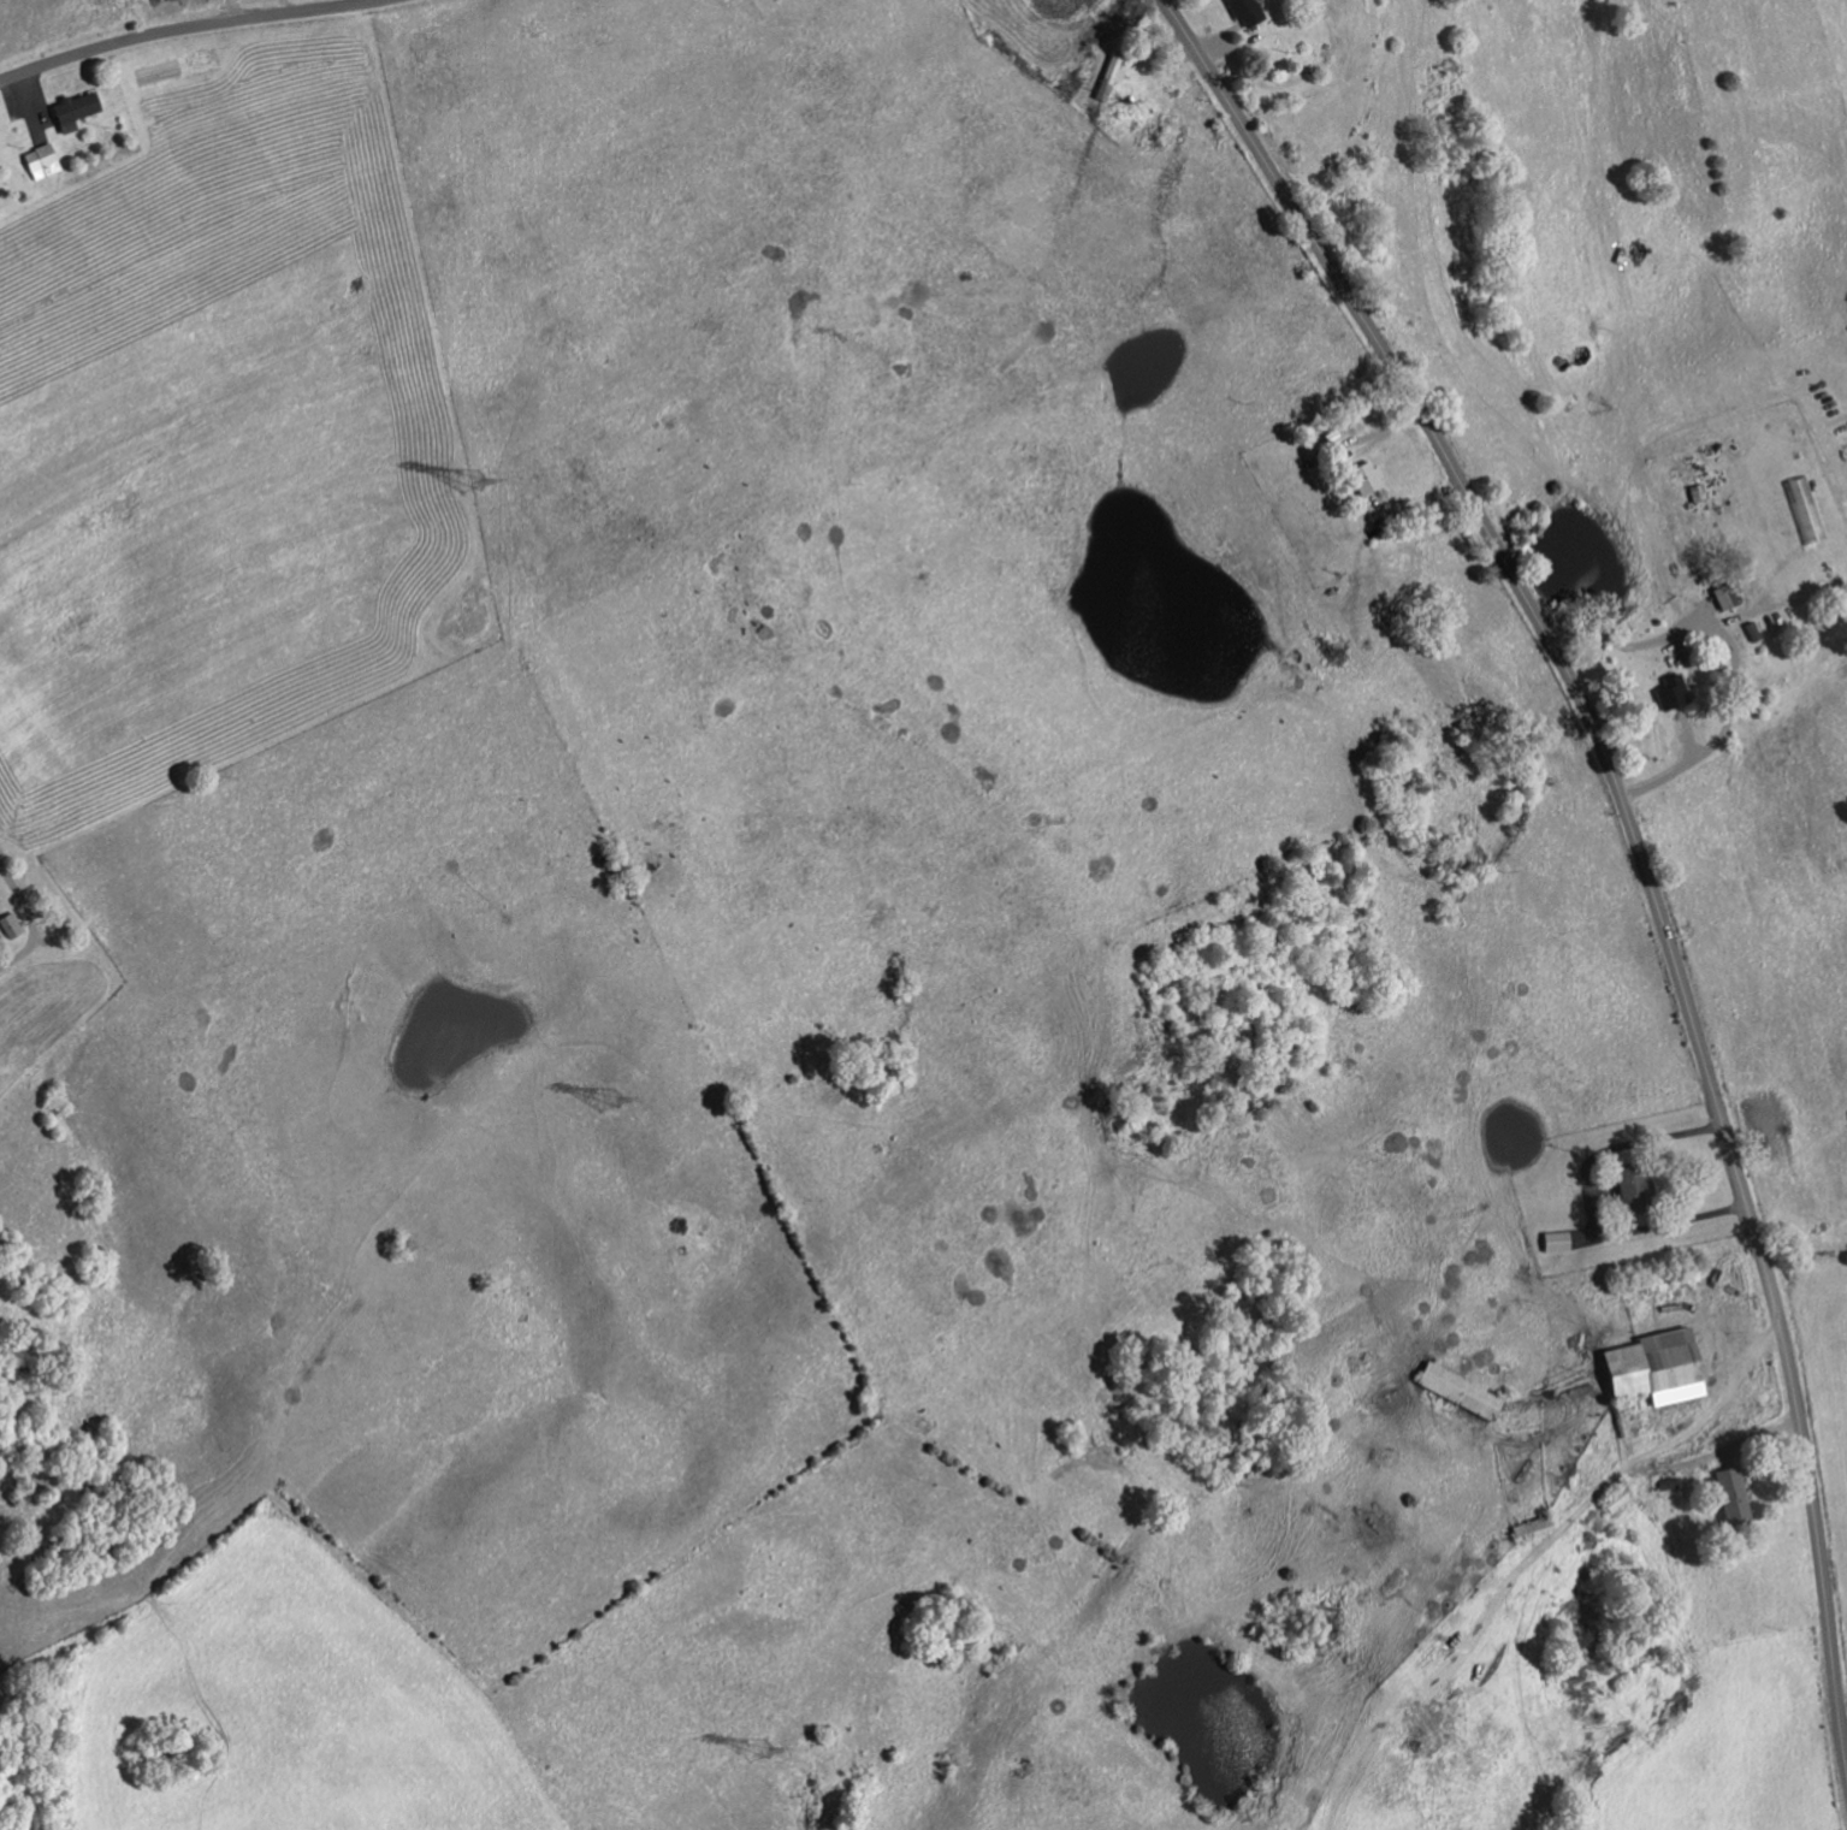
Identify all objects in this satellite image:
building: (1242, 12)
road: (180, 28)
building: (47, 161)
building: (1361, 475)
power tower: (470, 480)
building: (1802, 508)
building: (1722, 594)
building: (1748, 630)
building: (1668, 691)
road: (1635, 835)
building: (7, 923)
power tower: (610, 1097)
building: (1621, 1186)
building: (1552, 1240)
building: (1648, 1367)
building: (1452, 1390)
building: (1727, 1493)

